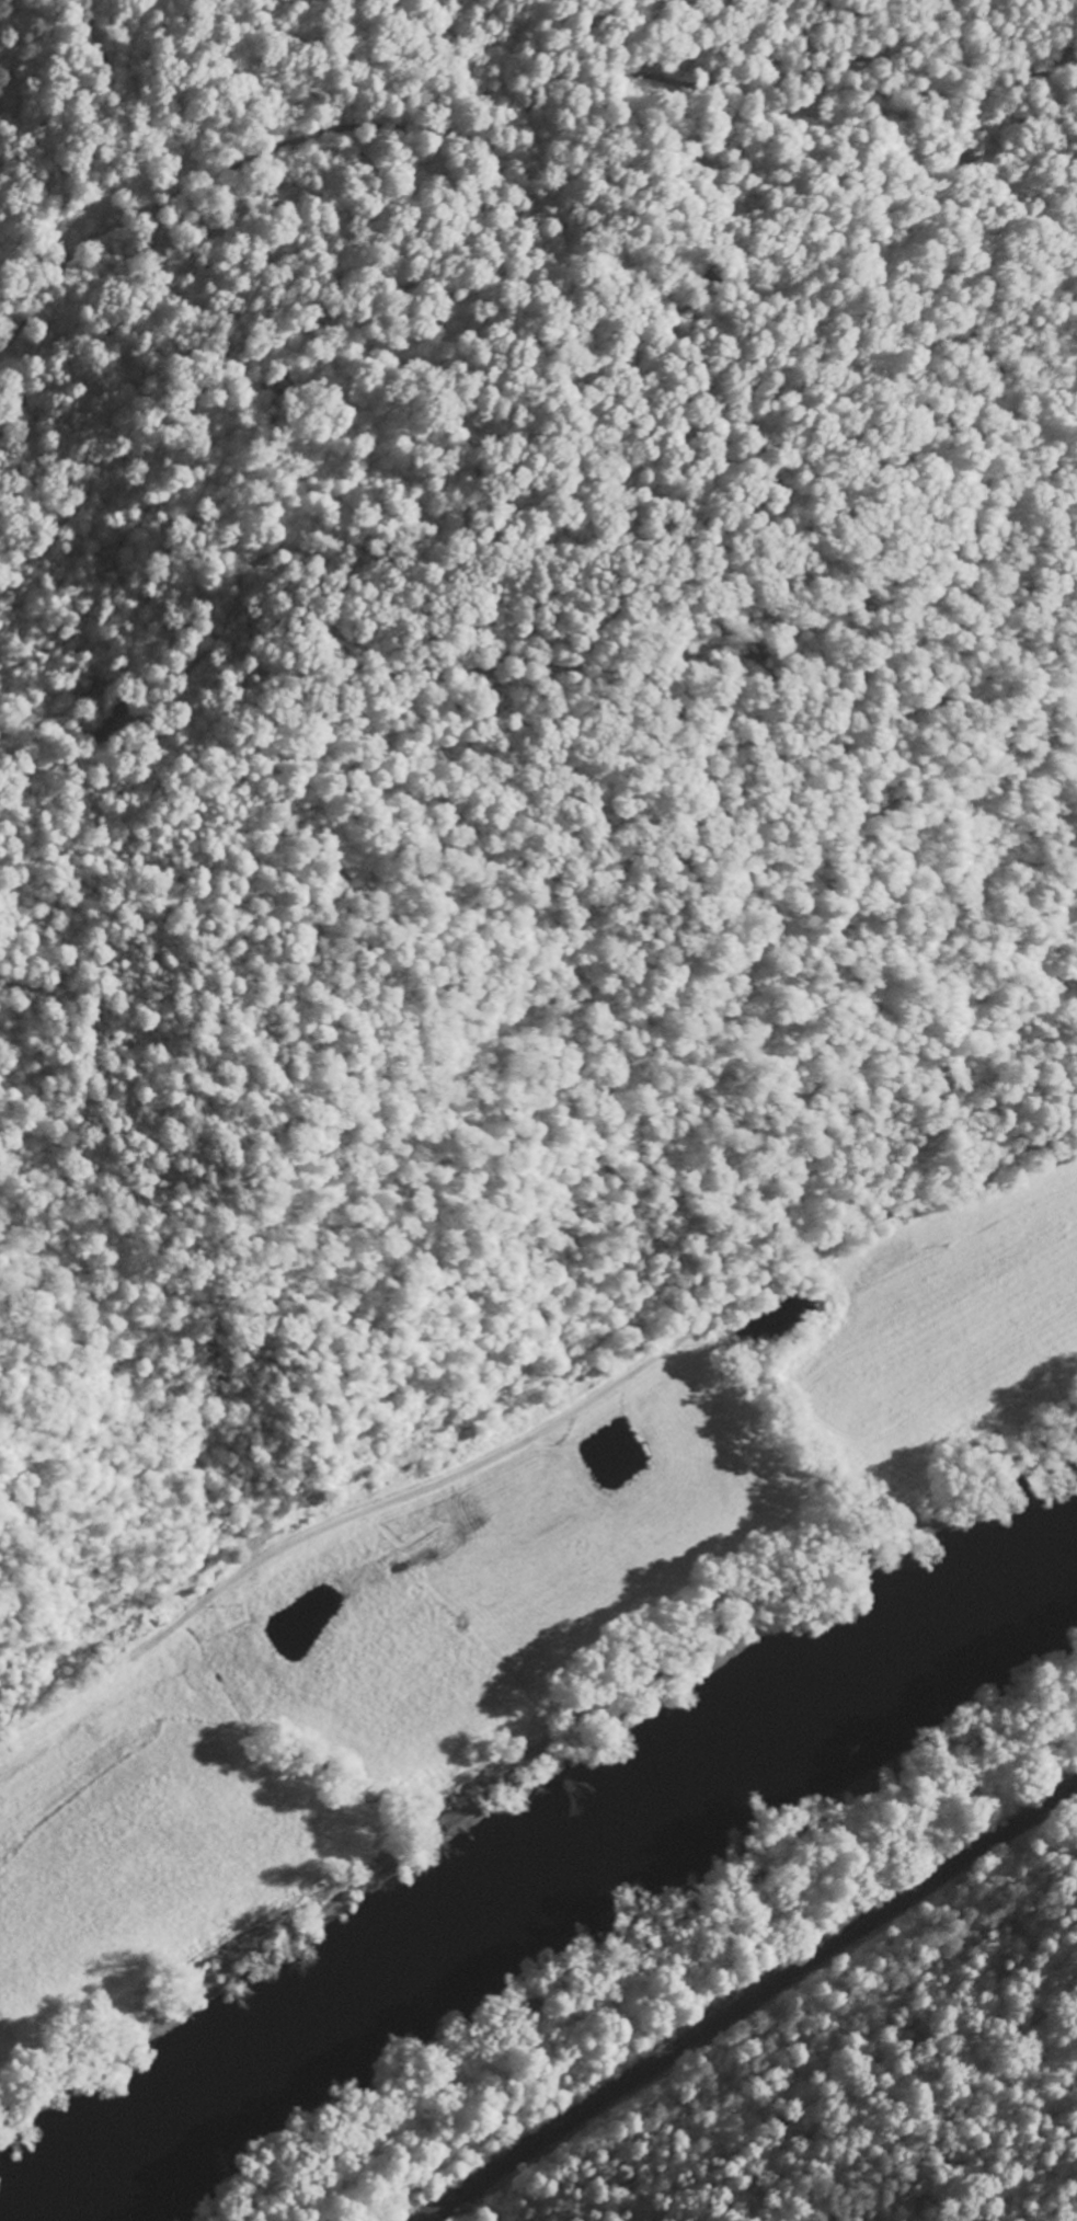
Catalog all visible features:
road: (514, 522)
road: (537, 1427)
river: (561, 1888)
railway: (743, 2002)

